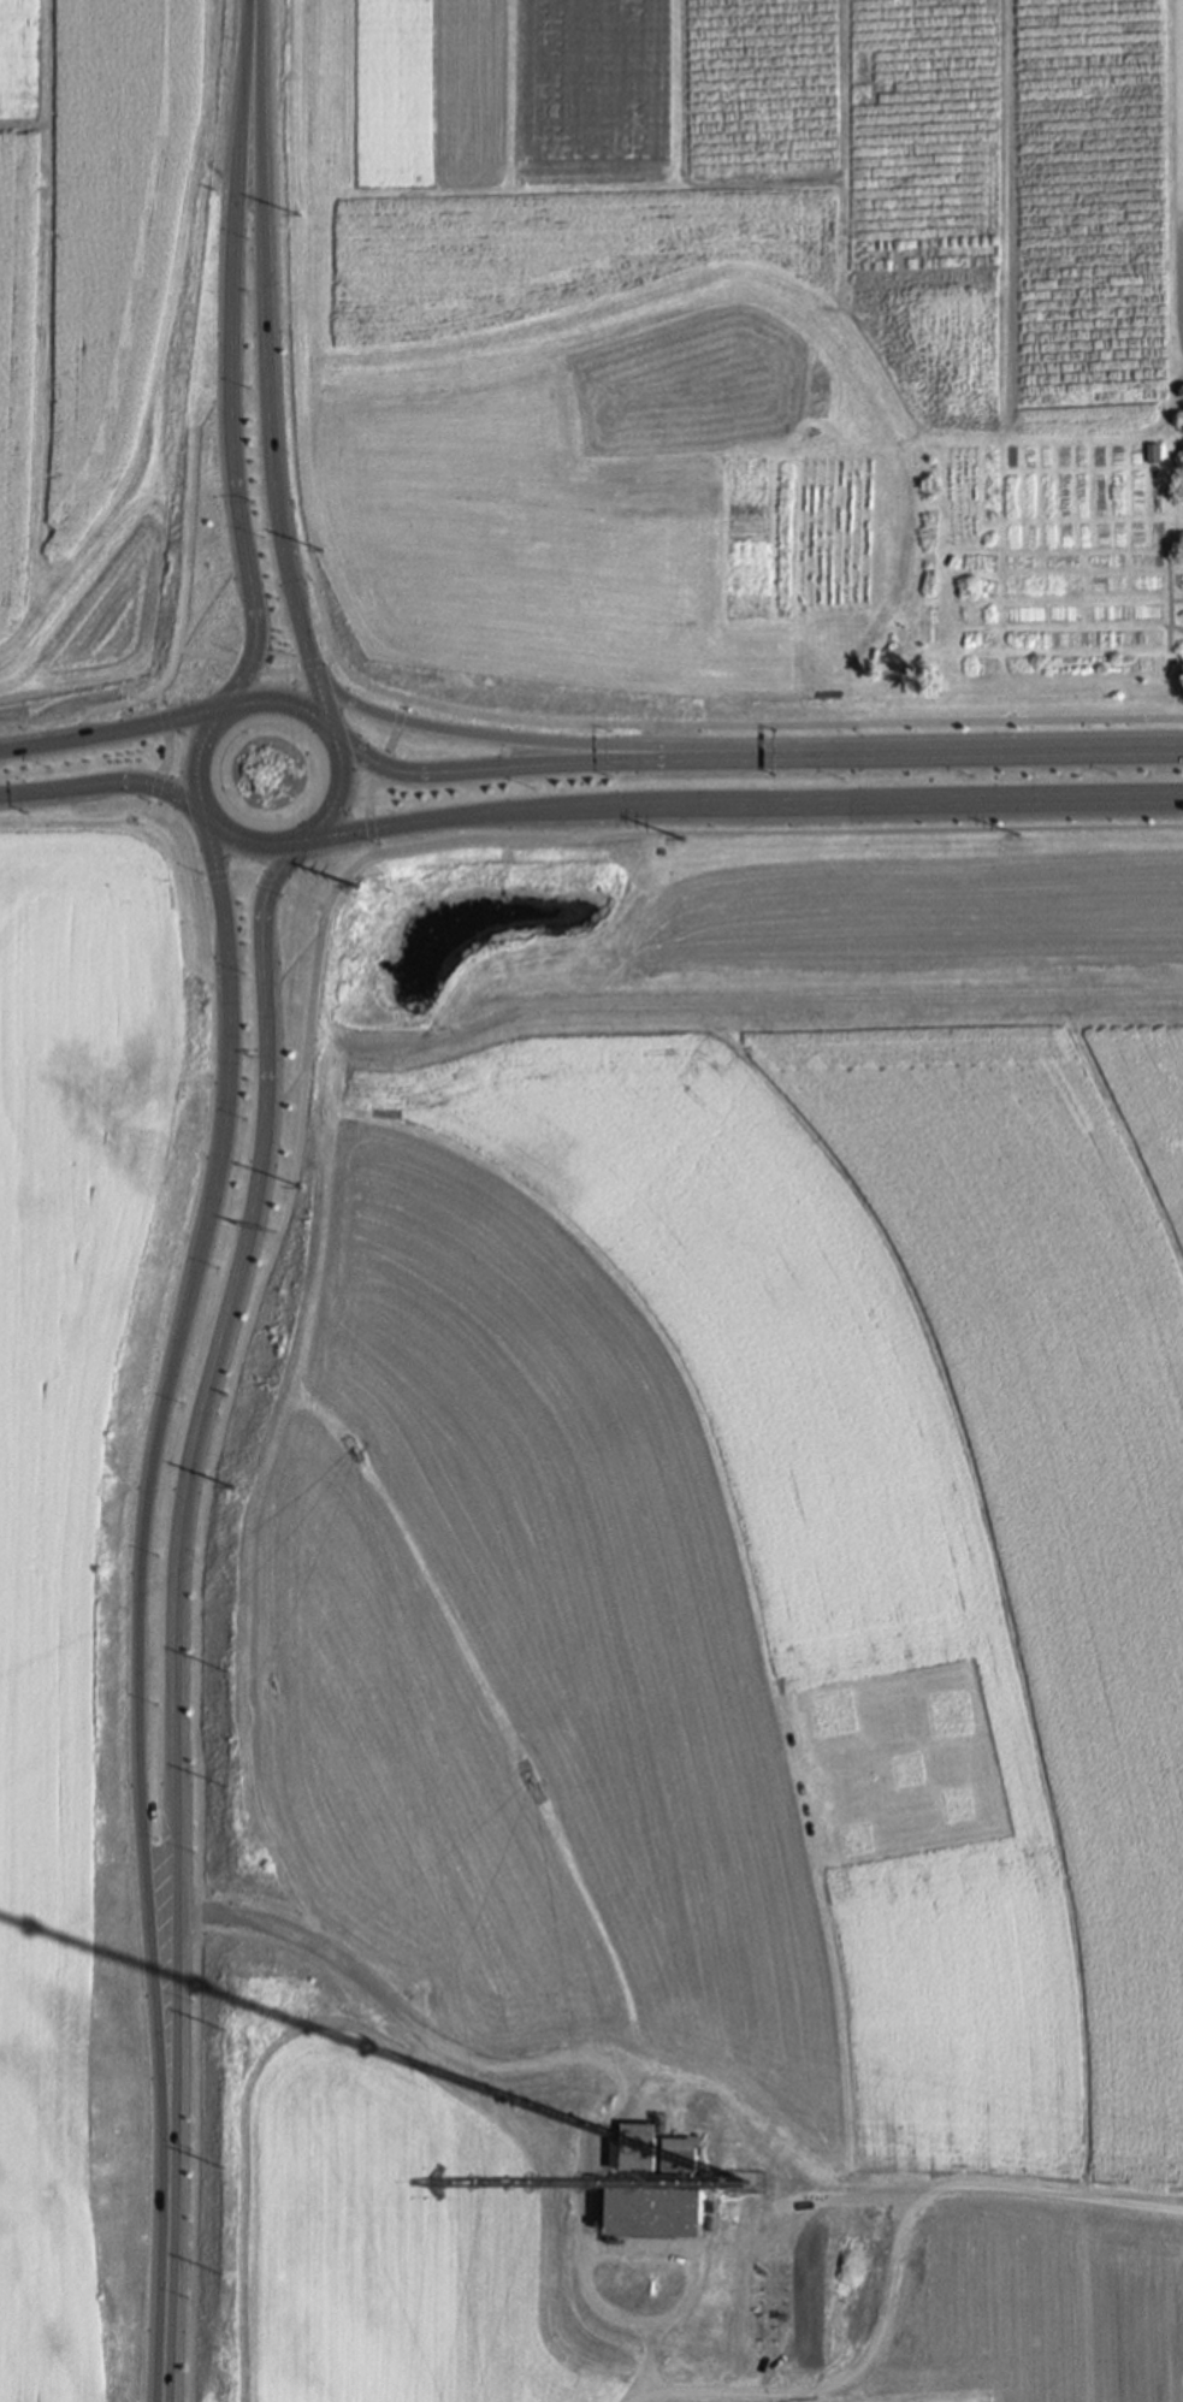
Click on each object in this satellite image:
road: (246, 95)
road: (264, 146)
road: (1181, 146)
power tower: (298, 213)
road: (230, 288)
crop: (101, 333)
crop: (747, 355)
road: (215, 407)
road: (270, 428)
road: (295, 460)
power tower: (321, 549)
road: (243, 552)
road: (302, 576)
road: (212, 603)
road: (185, 615)
road: (307, 650)
road: (259, 668)
road: (398, 714)
road: (1018, 717)
road: (551, 722)
road: (113, 733)
road: (479, 734)
road: (641, 735)
road: (389, 740)
road: (691, 749)
road: (958, 750)
road: (171, 752)
road: (380, 765)
road: (528, 767)
street lamp: (605, 776)
road: (342, 785)
road: (100, 788)
road: (367, 795)
road: (836, 806)
road: (578, 823)
road: (396, 826)
road: (874, 830)
power tower: (1016, 834)
road: (371, 835)
power tower: (681, 839)
road: (187, 840)
road: (356, 868)
road: (264, 881)
power tower: (359, 889)
road: (221, 899)
road: (262, 912)
road: (295, 965)
road: (864, 998)
road: (285, 1091)
power tower: (297, 1187)
power tower: (230, 1489)
crop: (82, 1534)
road: (137, 1561)
road: (173, 1570)
crop: (699, 1631)
power tower: (226, 1673)
road: (193, 1728)
power tower: (227, 1789)
power tower: (226, 2030)
road: (567, 2057)
building: (638, 2147)
building: (680, 2155)
power tower: (225, 2170)
building: (657, 2213)
road: (895, 2268)
road: (166, 2278)
power tower: (224, 2278)

